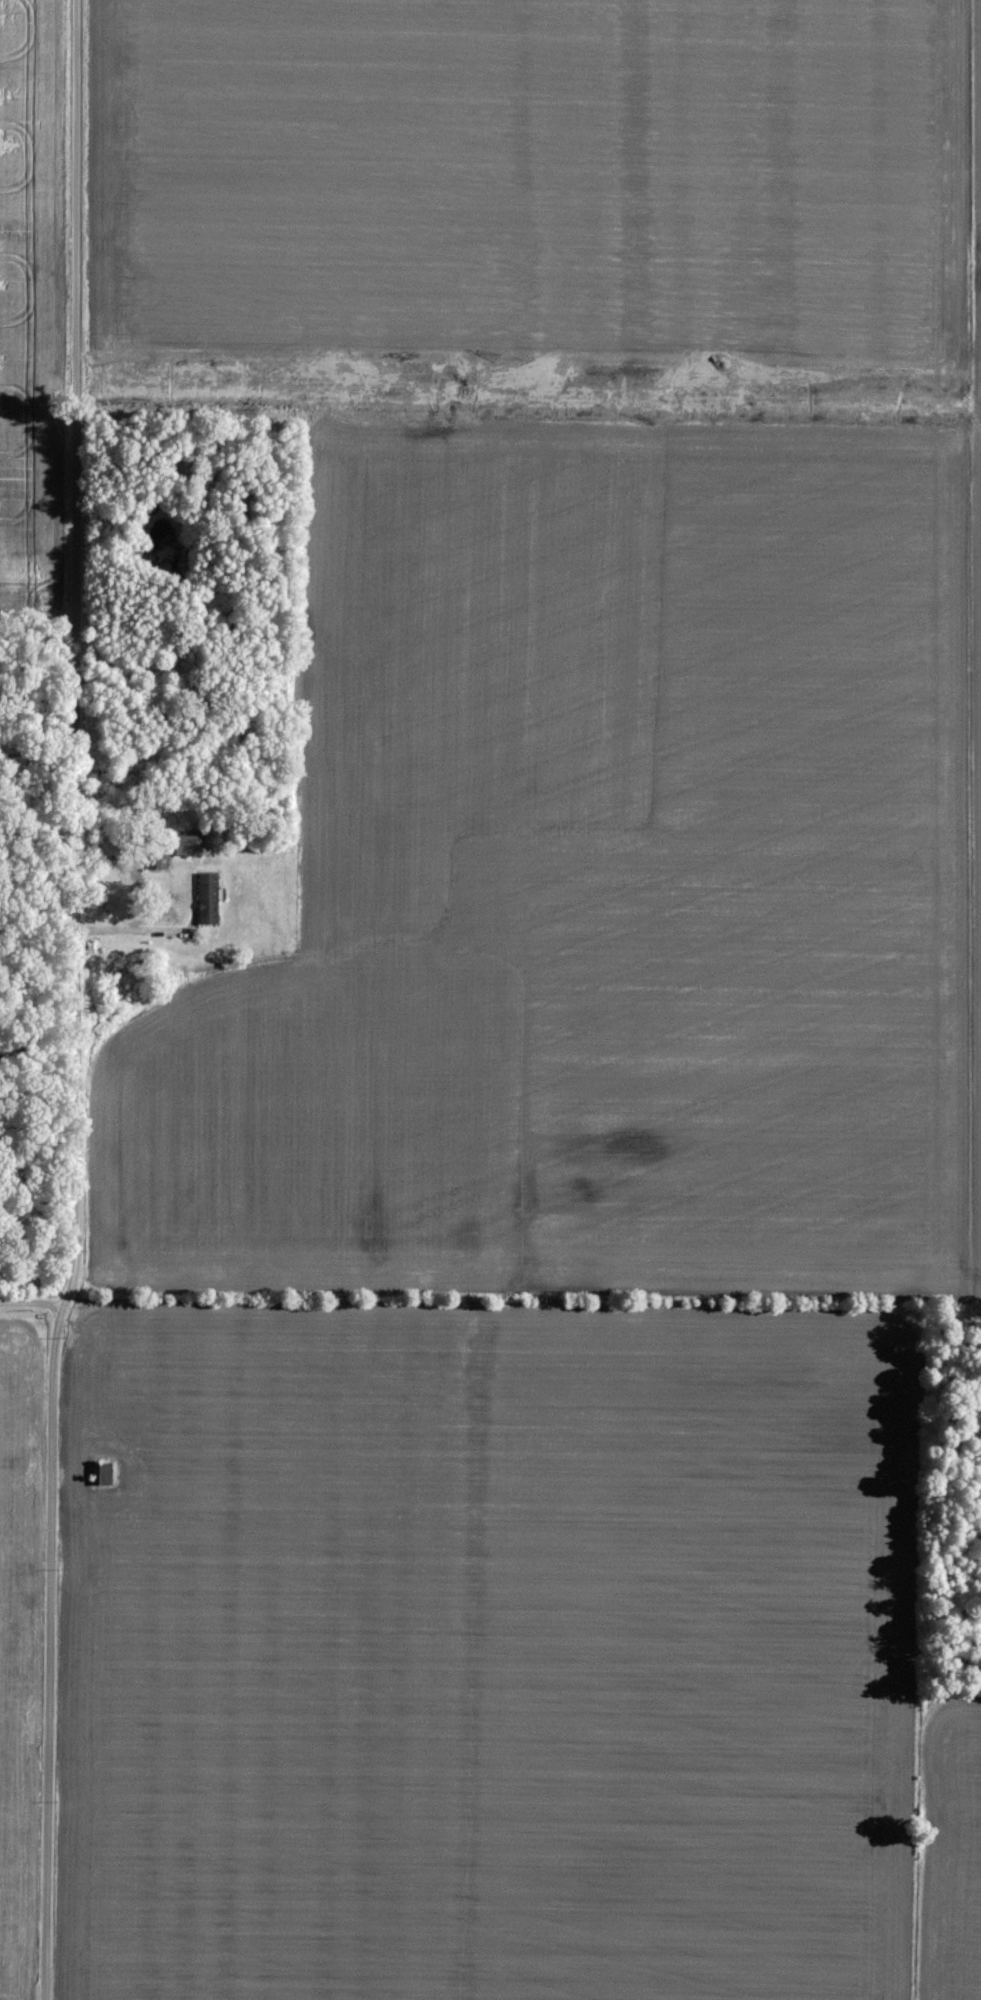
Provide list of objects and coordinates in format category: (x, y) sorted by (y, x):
building: (191, 845)
road: (75, 859)
building: (211, 898)
road: (29, 1304)
road: (45, 1857)

